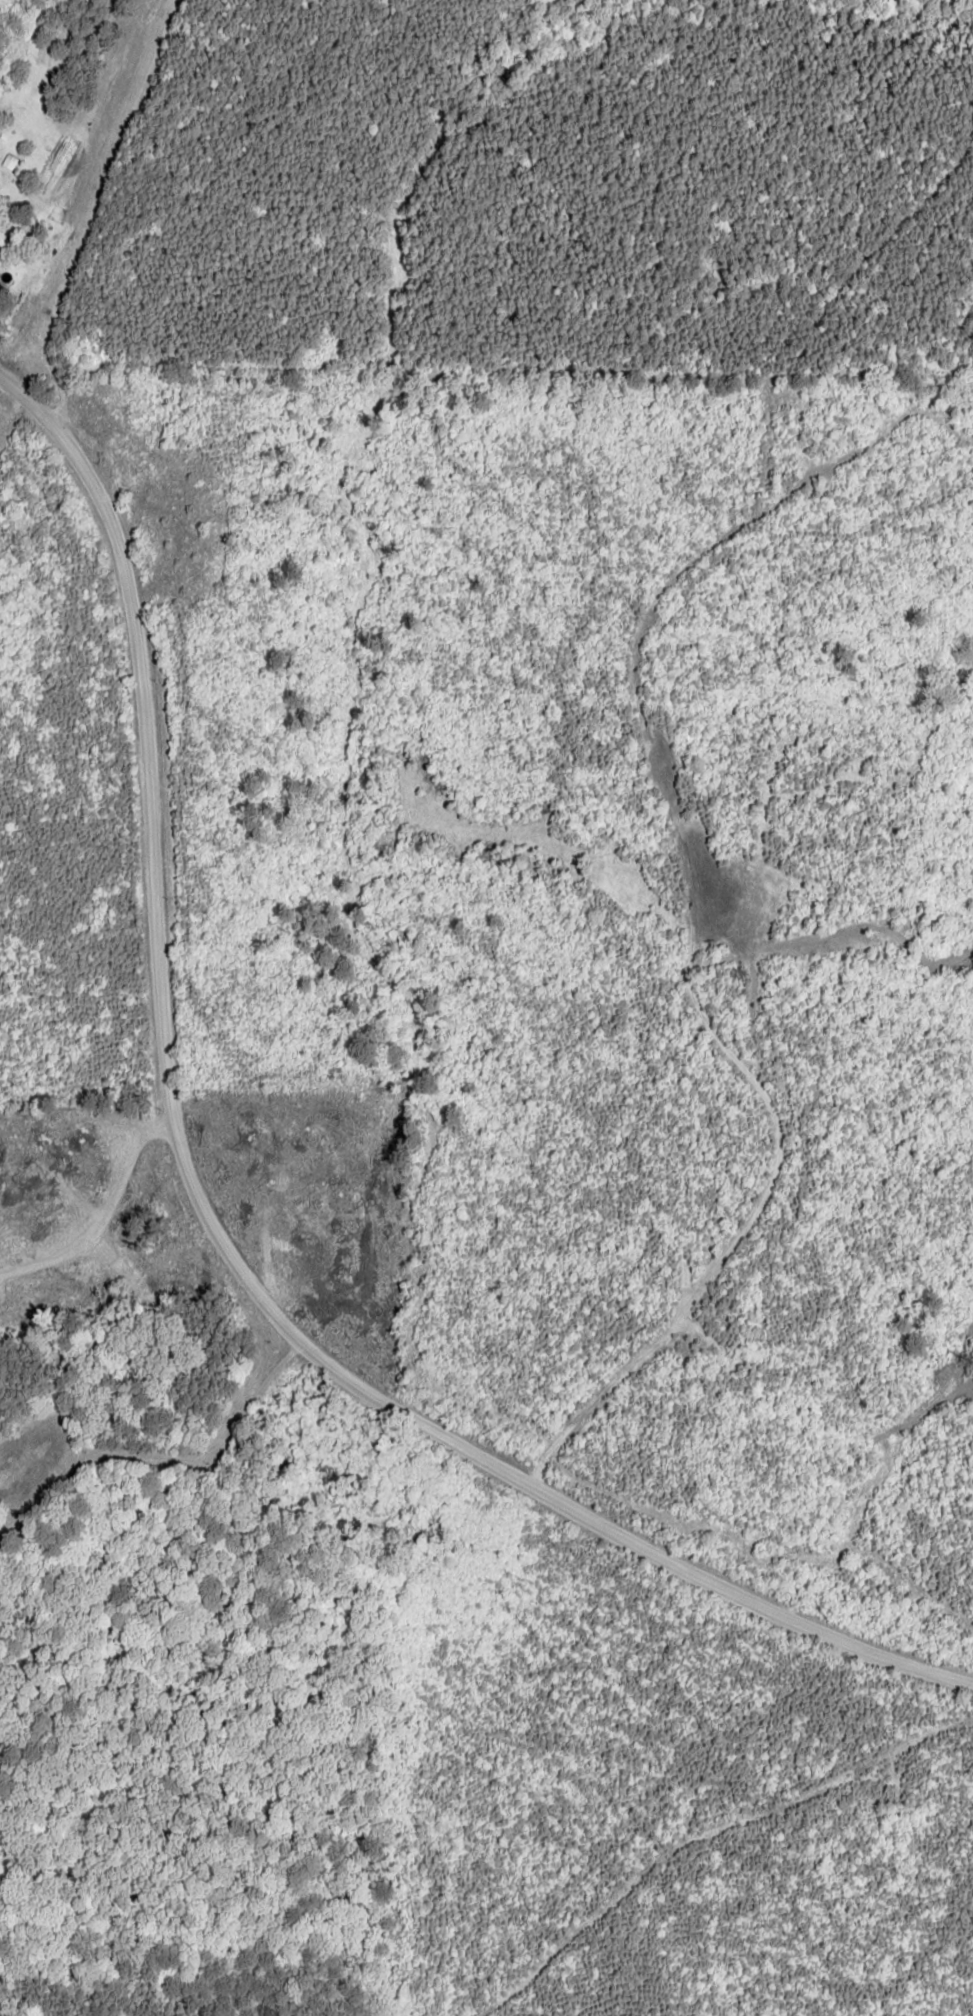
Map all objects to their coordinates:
road: (228, 1267)
road: (352, 1692)

